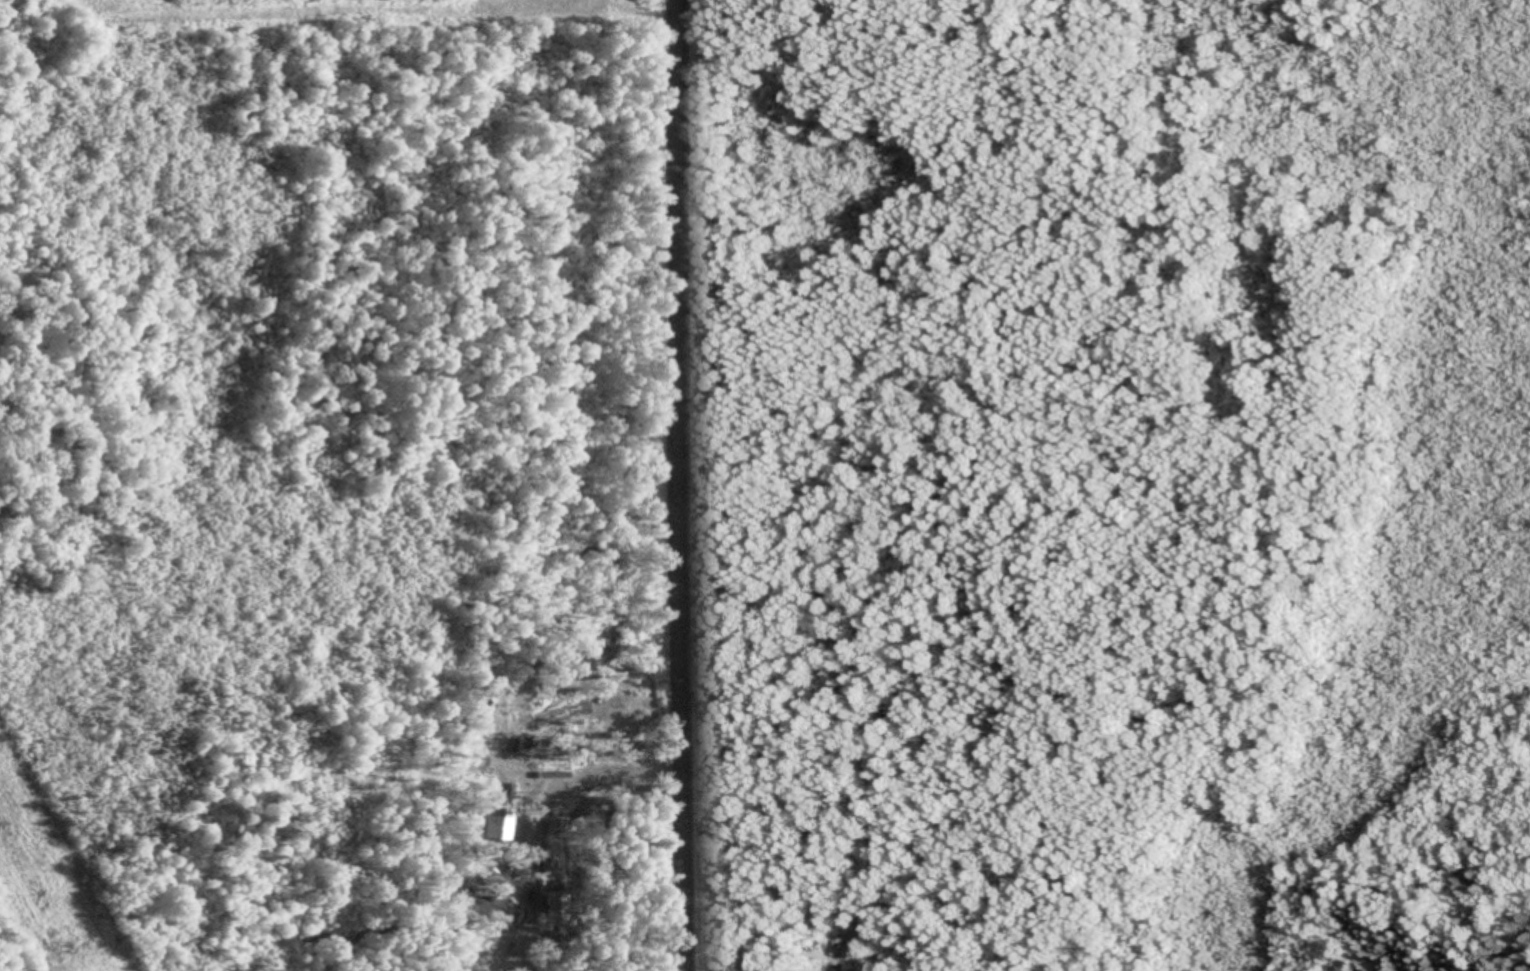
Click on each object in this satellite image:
road: (682, 485)

